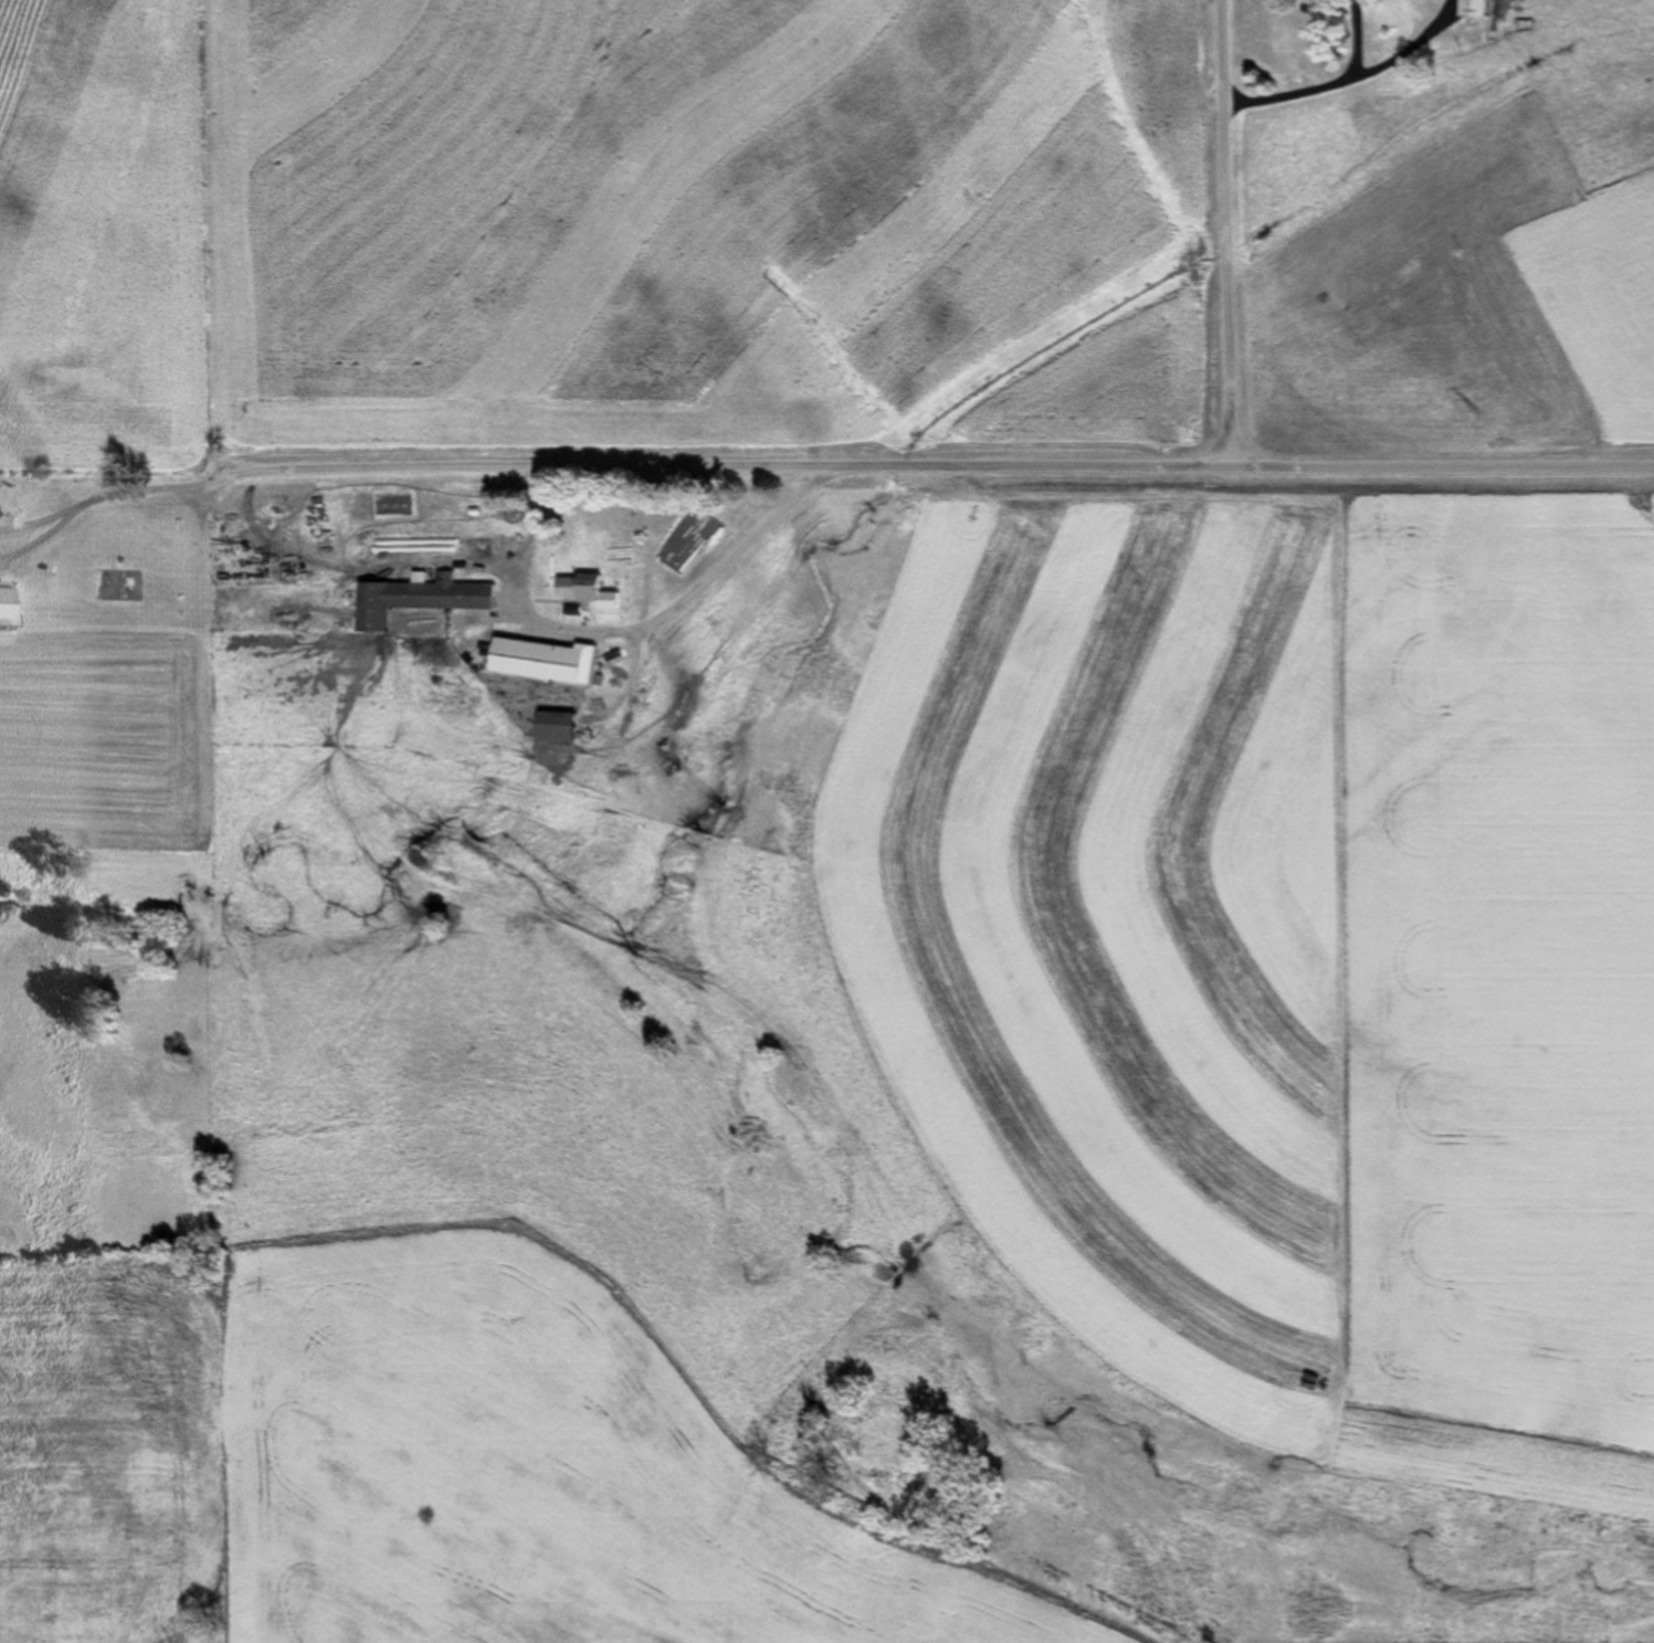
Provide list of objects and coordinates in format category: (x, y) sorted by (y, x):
building: (1485, 9)
road: (1231, 443)
road: (726, 470)
building: (584, 589)
building: (419, 599)
building: (7, 601)
building: (545, 662)
building: (560, 728)

